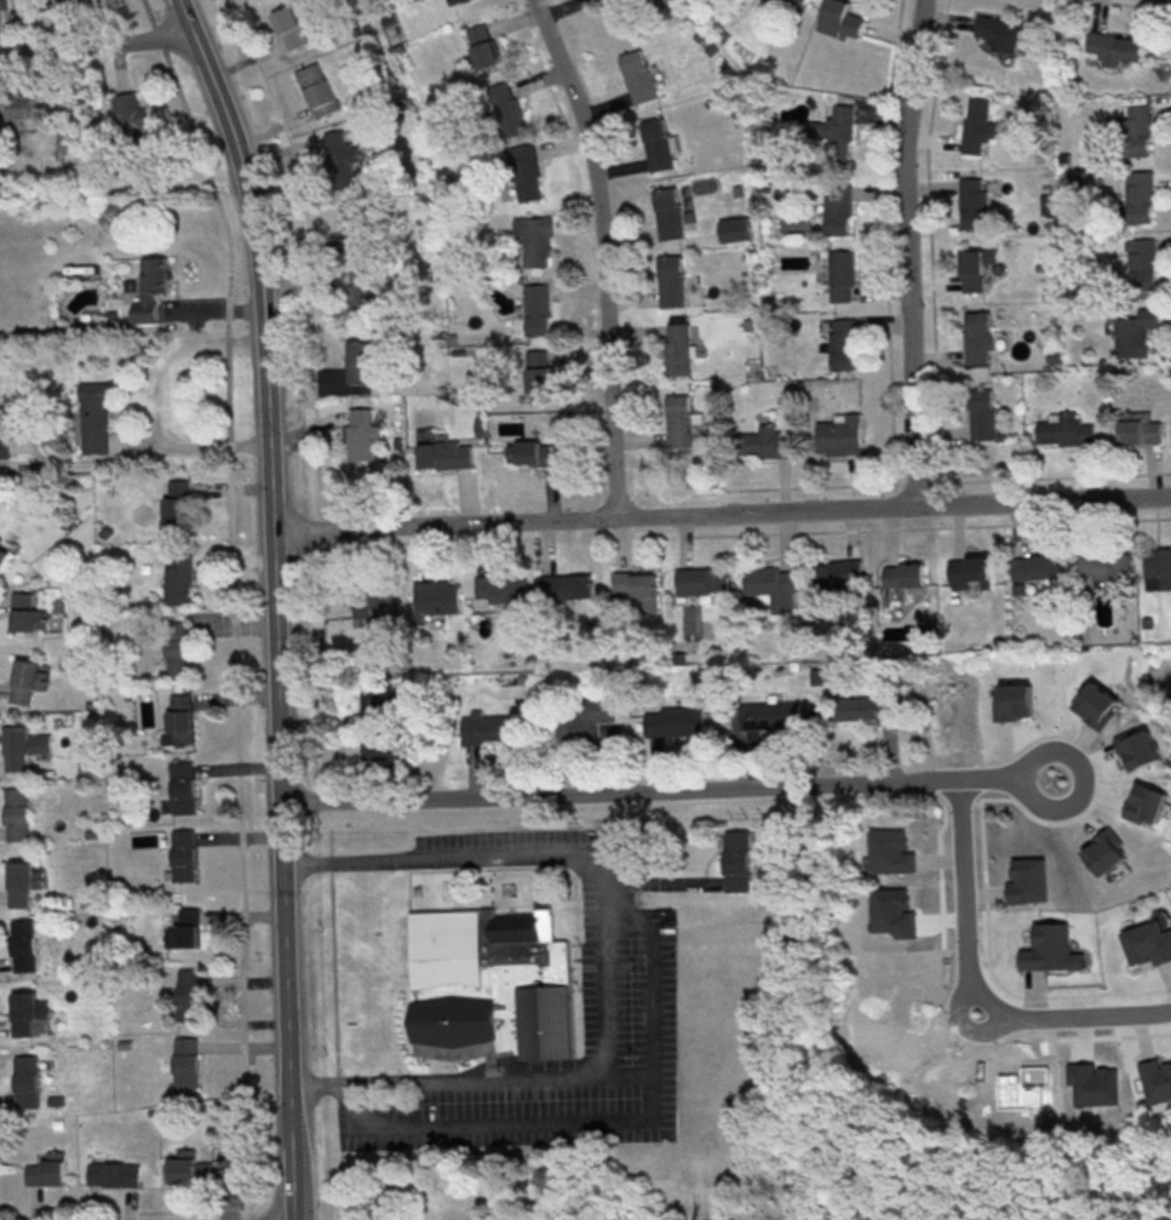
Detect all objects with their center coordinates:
building: (68, 1)
building: (453, 1)
building: (599, 1)
building: (798, 2)
building: (4, 5)
building: (839, 19)
building: (289, 28)
building: (1003, 31)
road: (96, 44)
building: (482, 45)
building: (1115, 47)
building: (637, 76)
building: (317, 90)
building: (505, 109)
building: (24, 115)
building: (976, 124)
building: (130, 126)
building: (1137, 130)
building: (833, 132)
building: (659, 143)
building: (71, 145)
building: (340, 156)
building: (526, 172)
building: (1077, 181)
building: (4, 190)
building: (1138, 195)
building: (972, 204)
building: (837, 210)
building: (671, 213)
building: (354, 223)
building: (735, 229)
building: (534, 240)
road: (906, 252)
road: (602, 253)
building: (1141, 263)
building: (971, 270)
building: (840, 275)
building: (671, 281)
building: (360, 291)
building: (151, 294)
building: (536, 309)
building: (1133, 333)
building: (977, 336)
building: (843, 344)
building: (677, 351)
building: (358, 361)
building: (539, 376)
road: (154, 400)
building: (981, 413)
building: (96, 420)
building: (1063, 429)
building: (1140, 430)
building: (361, 433)
building: (839, 435)
building: (762, 442)
building: (5, 446)
building: (533, 453)
building: (443, 454)
building: (176, 506)
road: (721, 512)
building: (4, 557)
building: (1104, 563)
building: (1033, 567)
building: (1158, 568)
building: (968, 569)
building: (833, 573)
building: (902, 574)
building: (700, 579)
building: (177, 582)
building: (564, 585)
building: (773, 586)
building: (500, 588)
building: (638, 588)
building: (435, 598)
building: (374, 602)
road: (272, 603)
building: (25, 612)
building: (177, 647)
building: (27, 678)
building: (1015, 701)
building: (1097, 705)
building: (869, 709)
building: (768, 715)
building: (179, 720)
building: (585, 720)
building: (675, 721)
building: (489, 727)
building: (23, 745)
building: (380, 746)
building: (1140, 748)
building: (182, 786)
road: (672, 789)
building: (1147, 803)
building: (17, 814)
building: (890, 852)
building: (1106, 852)
building: (183, 854)
road: (478, 854)
building: (736, 860)
building: (1027, 881)
building: (23, 882)
road: (631, 921)
building: (184, 928)
building: (1148, 943)
building: (24, 944)
building: (1046, 947)
road: (974, 990)
building: (495, 991)
building: (188, 995)
building: (30, 1014)
building: (185, 1063)
road: (562, 1078)
building: (27, 1081)
building: (1156, 1081)
road: (358, 1083)
road: (487, 1117)
building: (189, 1168)
building: (46, 1173)
building: (114, 1174)

